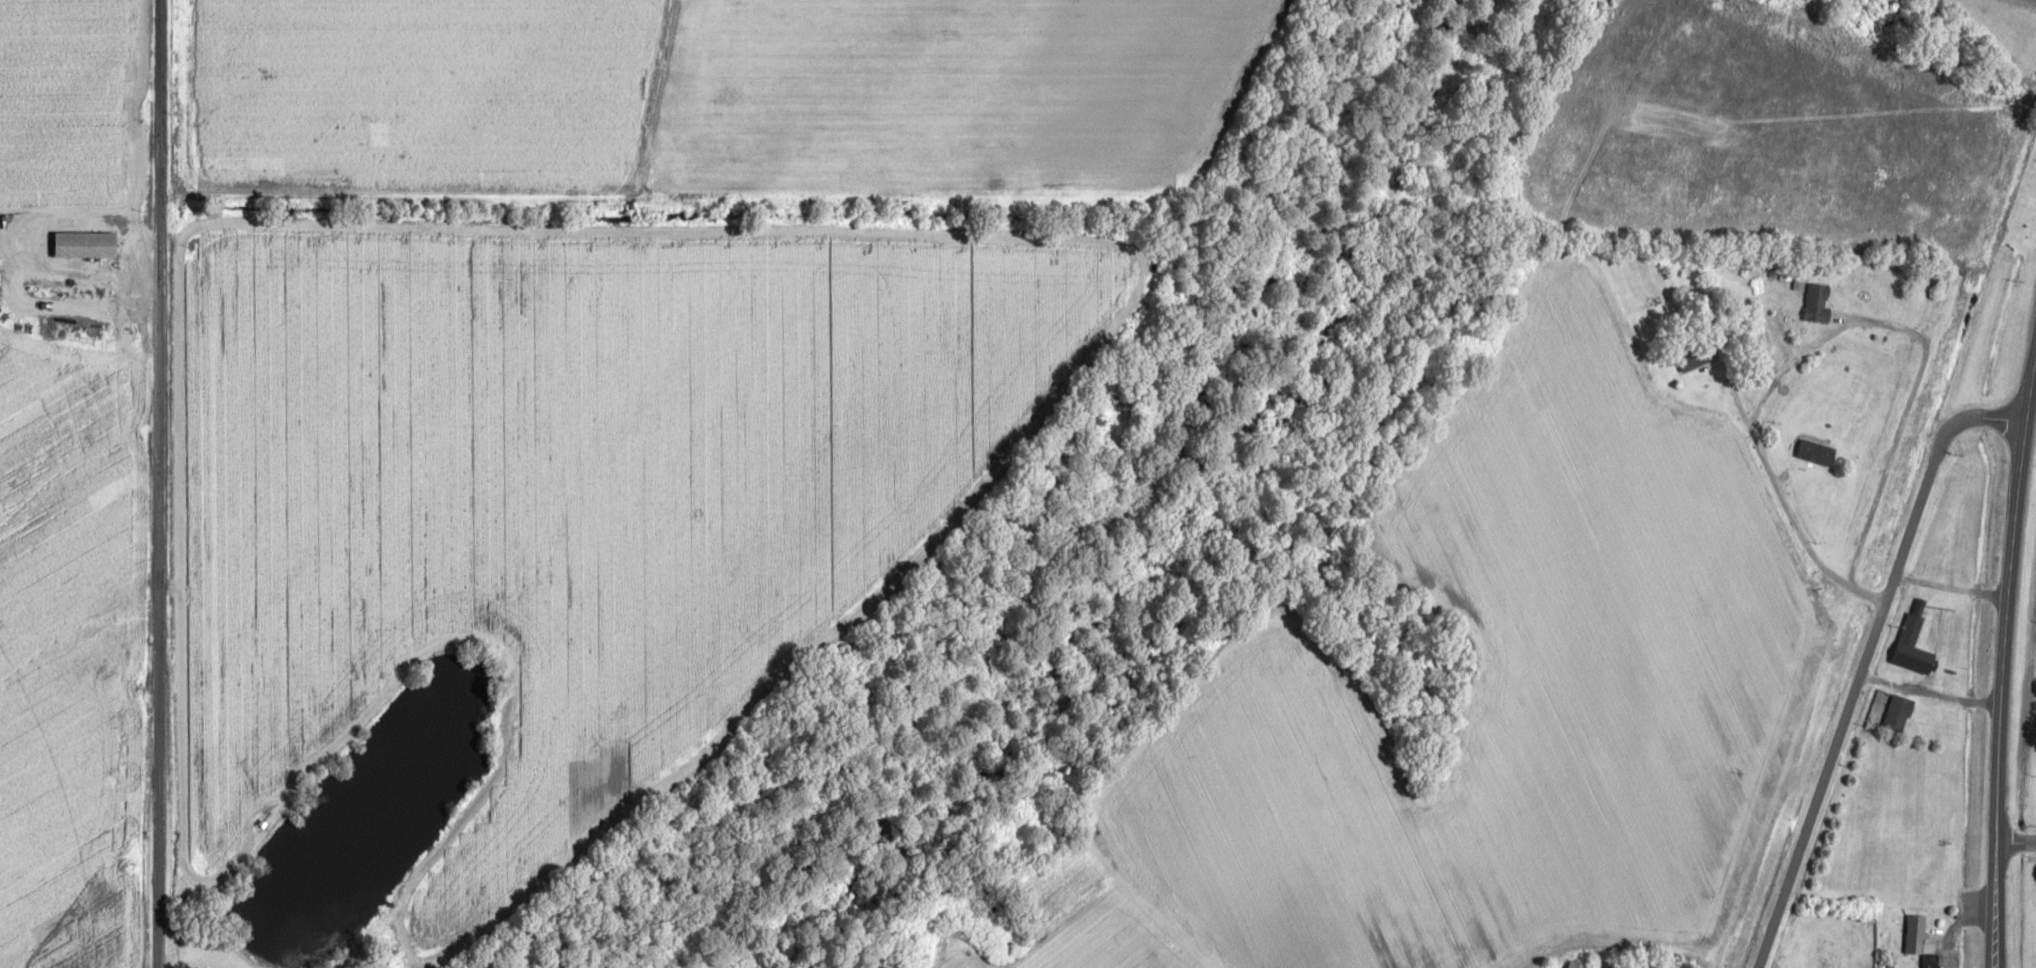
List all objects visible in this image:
road: (670, 102)
road: (159, 114)
road: (79, 214)
building: (87, 242)
building: (1819, 303)
building: (1699, 355)
road: (2029, 385)
building: (1818, 452)
road: (1791, 516)
road: (1950, 588)
road: (155, 599)
building: (1915, 640)
road: (1865, 660)
road: (1931, 691)
road: (2002, 695)
building: (1899, 712)
road: (2014, 843)
building: (1916, 933)
road: (111, 935)
road: (350, 955)
building: (1577, 964)

